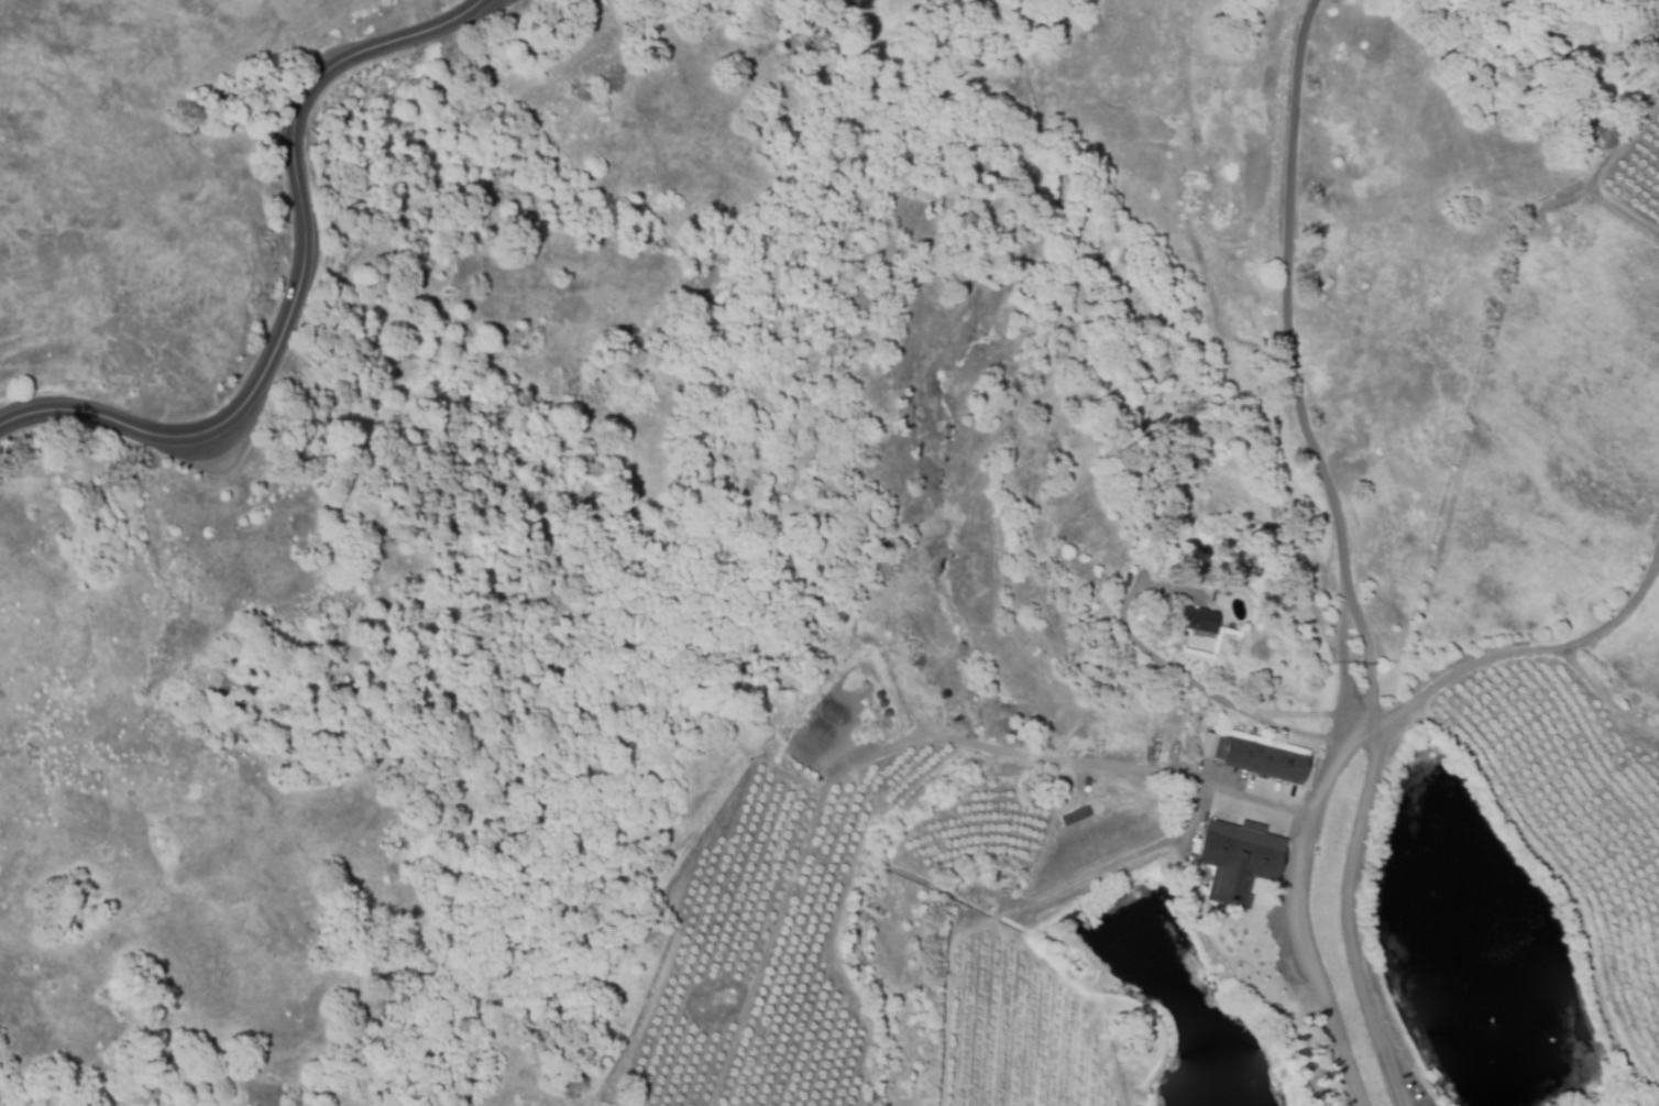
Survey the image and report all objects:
road: (318, 292)
road: (1337, 556)
building: (1204, 621)
road: (1120, 767)
building: (1239, 858)
road: (1289, 906)

